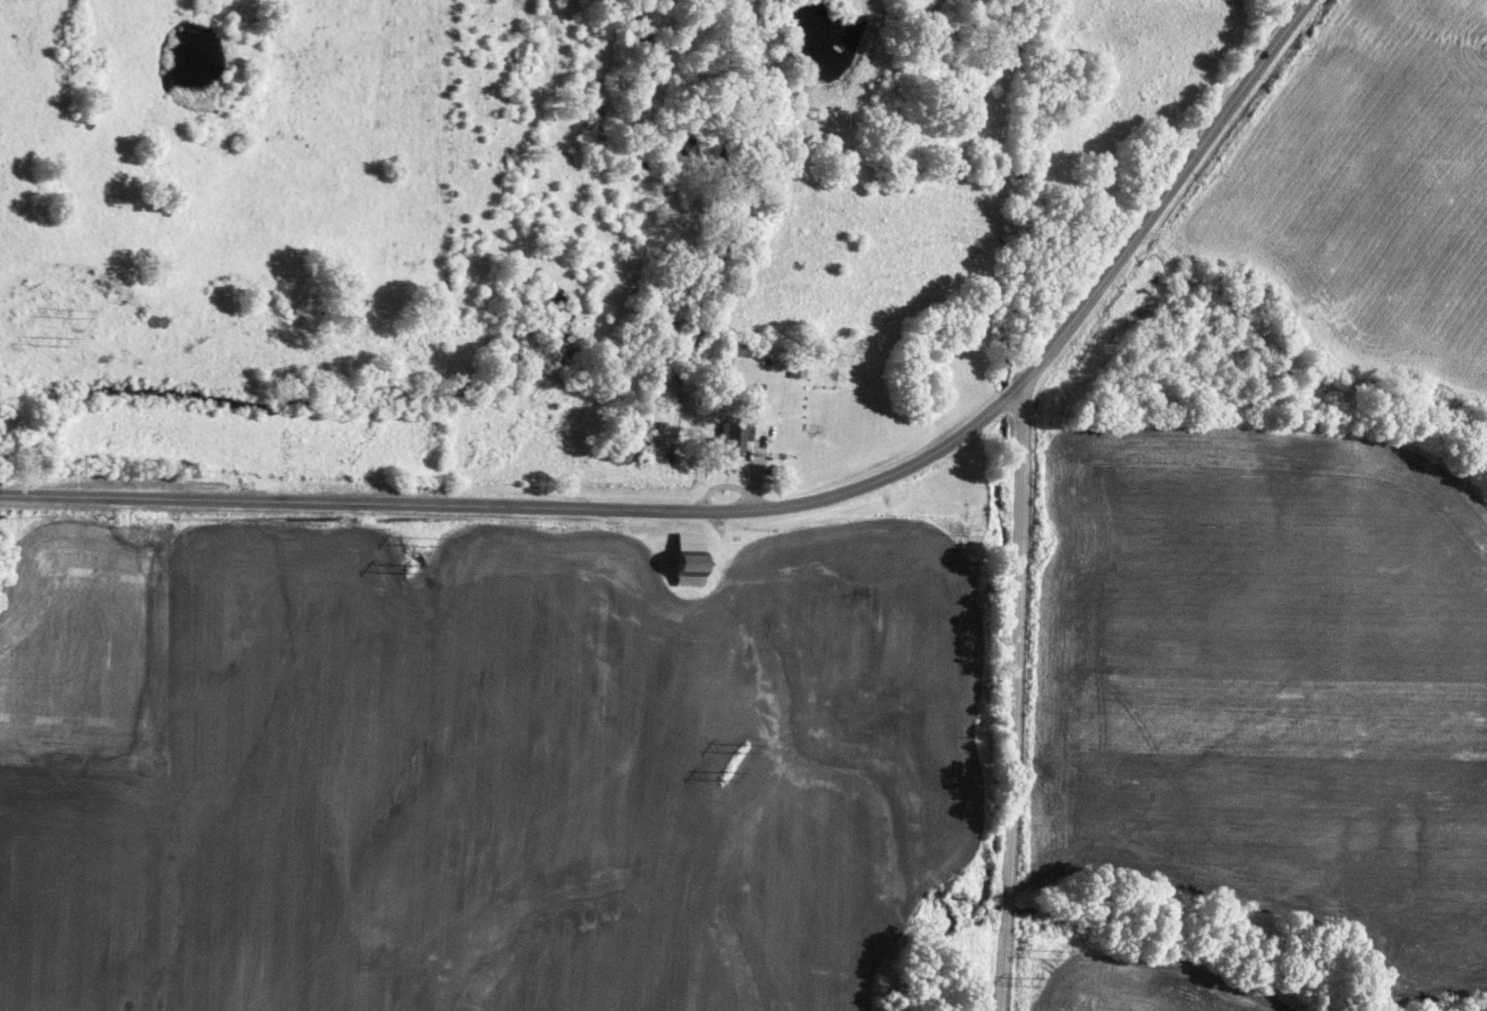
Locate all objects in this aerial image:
power tower: (58, 310)
power tower: (45, 341)
building: (736, 344)
building: (794, 365)
building: (727, 436)
road: (767, 511)
power tower: (412, 543)
building: (682, 557)
power tower: (394, 570)
road: (1016, 698)
power tower: (737, 752)
power tower: (719, 779)
power tower: (1050, 957)
power tower: (1033, 983)

